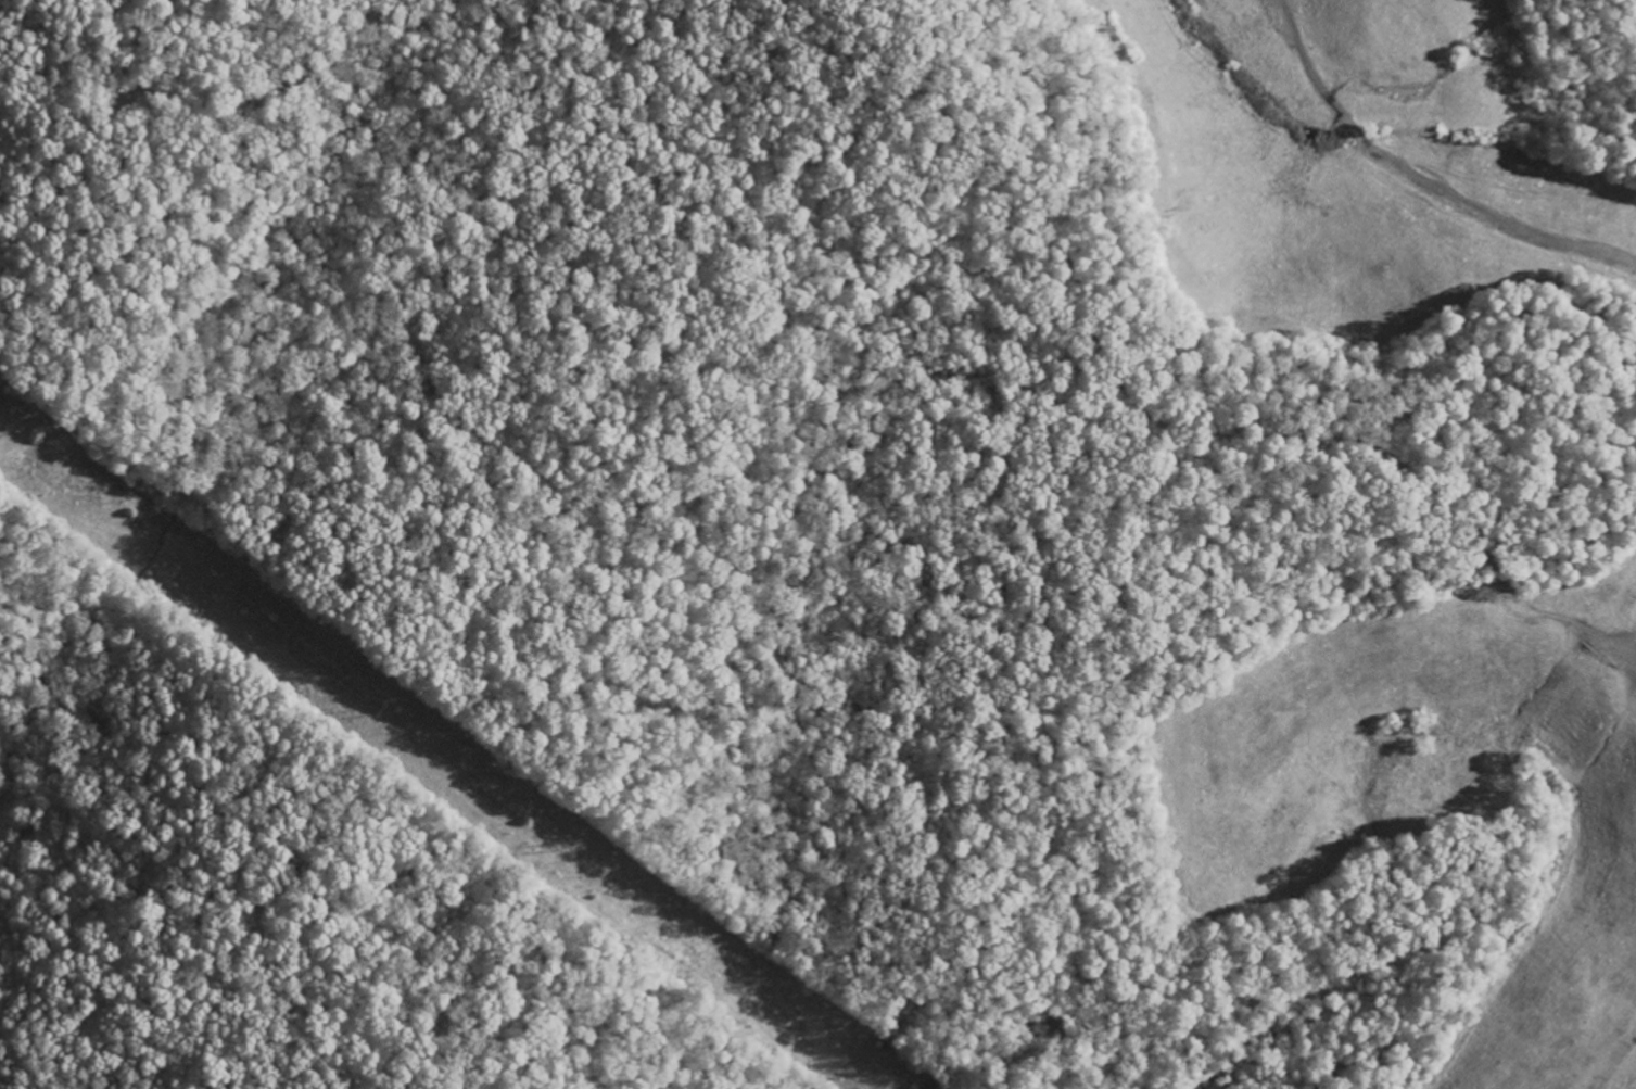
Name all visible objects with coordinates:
road: (1419, 179)
road: (1162, 387)
power tower: (8, 430)
power tower: (376, 707)
power tower: (560, 844)
road: (1614, 1062)

